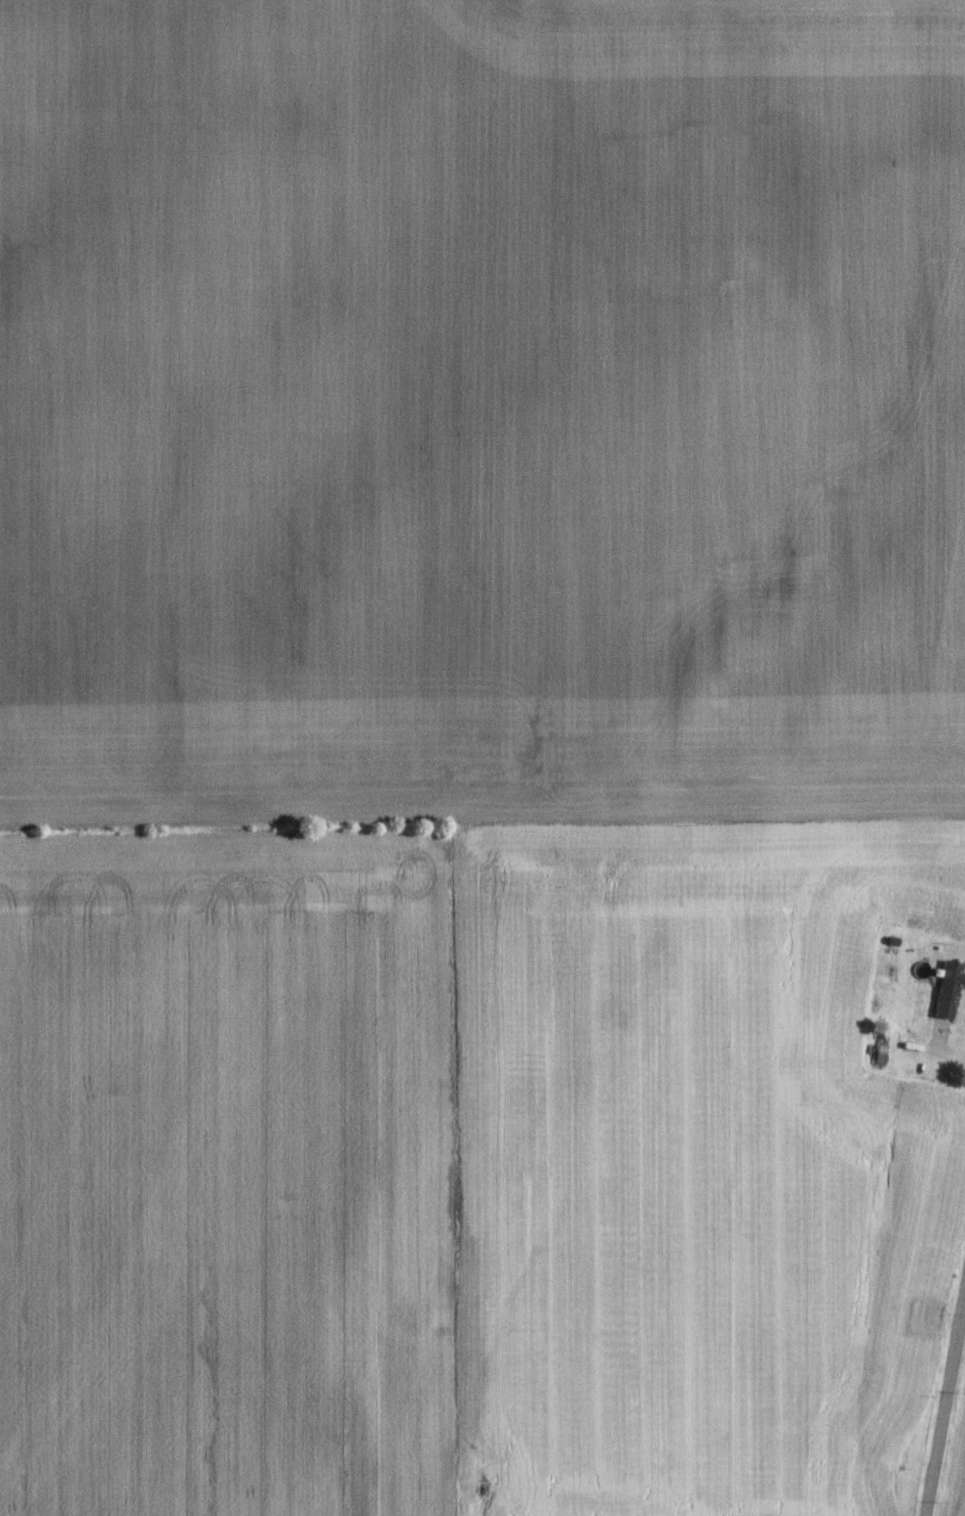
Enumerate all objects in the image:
building: (948, 994)
road: (945, 1401)

